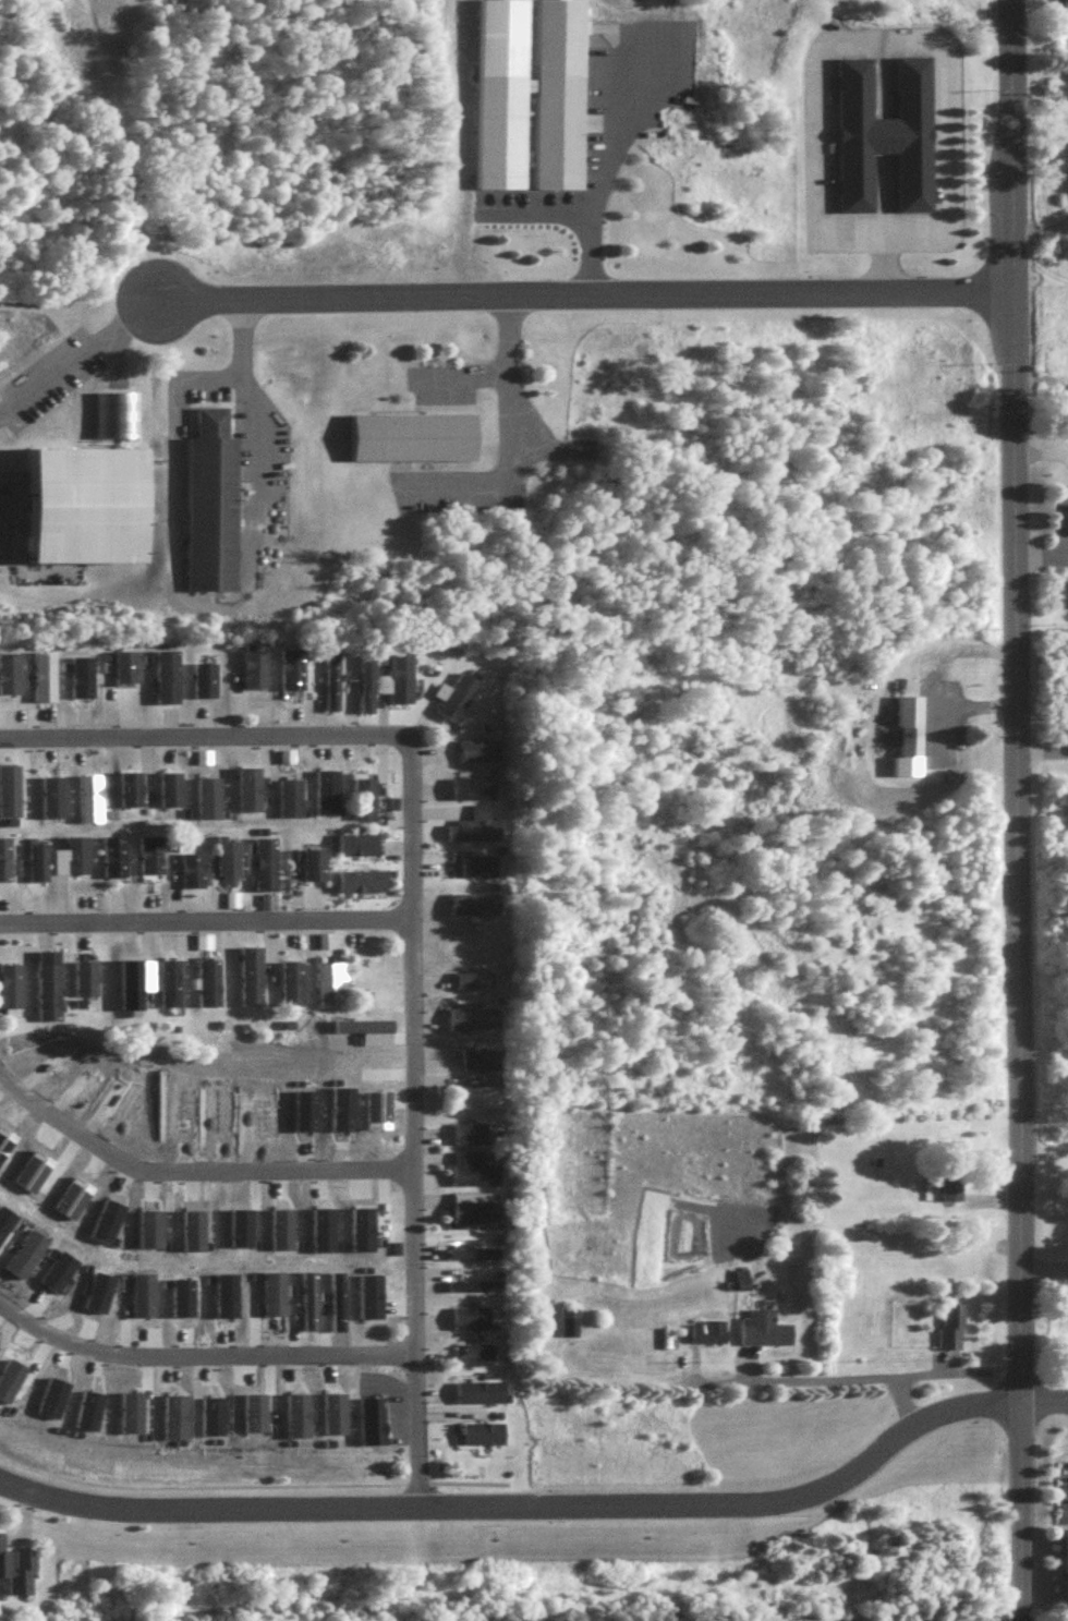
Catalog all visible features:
building: (1057, 3)
road: (881, 47)
building: (542, 114)
building: (878, 140)
road: (603, 181)
road: (545, 219)
road: (886, 268)
road: (582, 300)
road: (75, 351)
road: (463, 377)
building: (1067, 431)
road: (505, 432)
building: (416, 443)
building: (217, 509)
building: (99, 510)
building: (1064, 525)
road: (1041, 553)
building: (1066, 601)
road: (216, 610)
building: (123, 664)
building: (251, 666)
building: (289, 666)
building: (8, 670)
building: (397, 672)
building: (43, 675)
building: (81, 675)
building: (165, 675)
building: (202, 678)
building: (327, 679)
building: (361, 680)
road: (922, 682)
building: (452, 693)
building: (902, 733)
road: (206, 736)
building: (475, 749)
road: (1042, 755)
building: (128, 786)
building: (167, 786)
building: (246, 786)
building: (469, 786)
building: (8, 788)
building: (49, 794)
building: (86, 795)
building: (206, 795)
building: (287, 796)
building: (360, 796)
road: (1017, 810)
building: (470, 828)
building: (353, 842)
building: (365, 850)
building: (74, 851)
building: (147, 852)
building: (111, 854)
building: (3, 857)
building: (226, 858)
building: (36, 860)
building: (263, 861)
building: (311, 862)
building: (474, 864)
building: (190, 868)
building: (359, 879)
building: (471, 903)
road: (614, 911)
road: (202, 919)
building: (247, 971)
building: (82, 976)
building: (166, 979)
building: (205, 979)
building: (290, 980)
building: (327, 980)
building: (126, 981)
building: (45, 982)
building: (8, 983)
building: (472, 1017)
road: (633, 1033)
building: (483, 1060)
building: (475, 1098)
road: (410, 1132)
building: (470, 1133)
road: (191, 1170)
building: (473, 1170)
building: (948, 1195)
building: (473, 1212)
building: (393, 1247)
building: (473, 1255)
building: (471, 1260)
road: (1043, 1267)
building: (472, 1285)
building: (469, 1293)
road: (1043, 1315)
building: (470, 1318)
building: (565, 1328)
building: (946, 1333)
building: (760, 1336)
building: (475, 1339)
building: (703, 1339)
building: (473, 1354)
road: (201, 1355)
road: (903, 1376)
road: (793, 1379)
building: (478, 1393)
building: (88, 1406)
road: (1044, 1407)
building: (130, 1411)
building: (293, 1412)
building: (171, 1413)
building: (209, 1413)
building: (368, 1417)
building: (480, 1432)
road: (522, 1512)
building: (1061, 1574)
building: (20, 1575)

